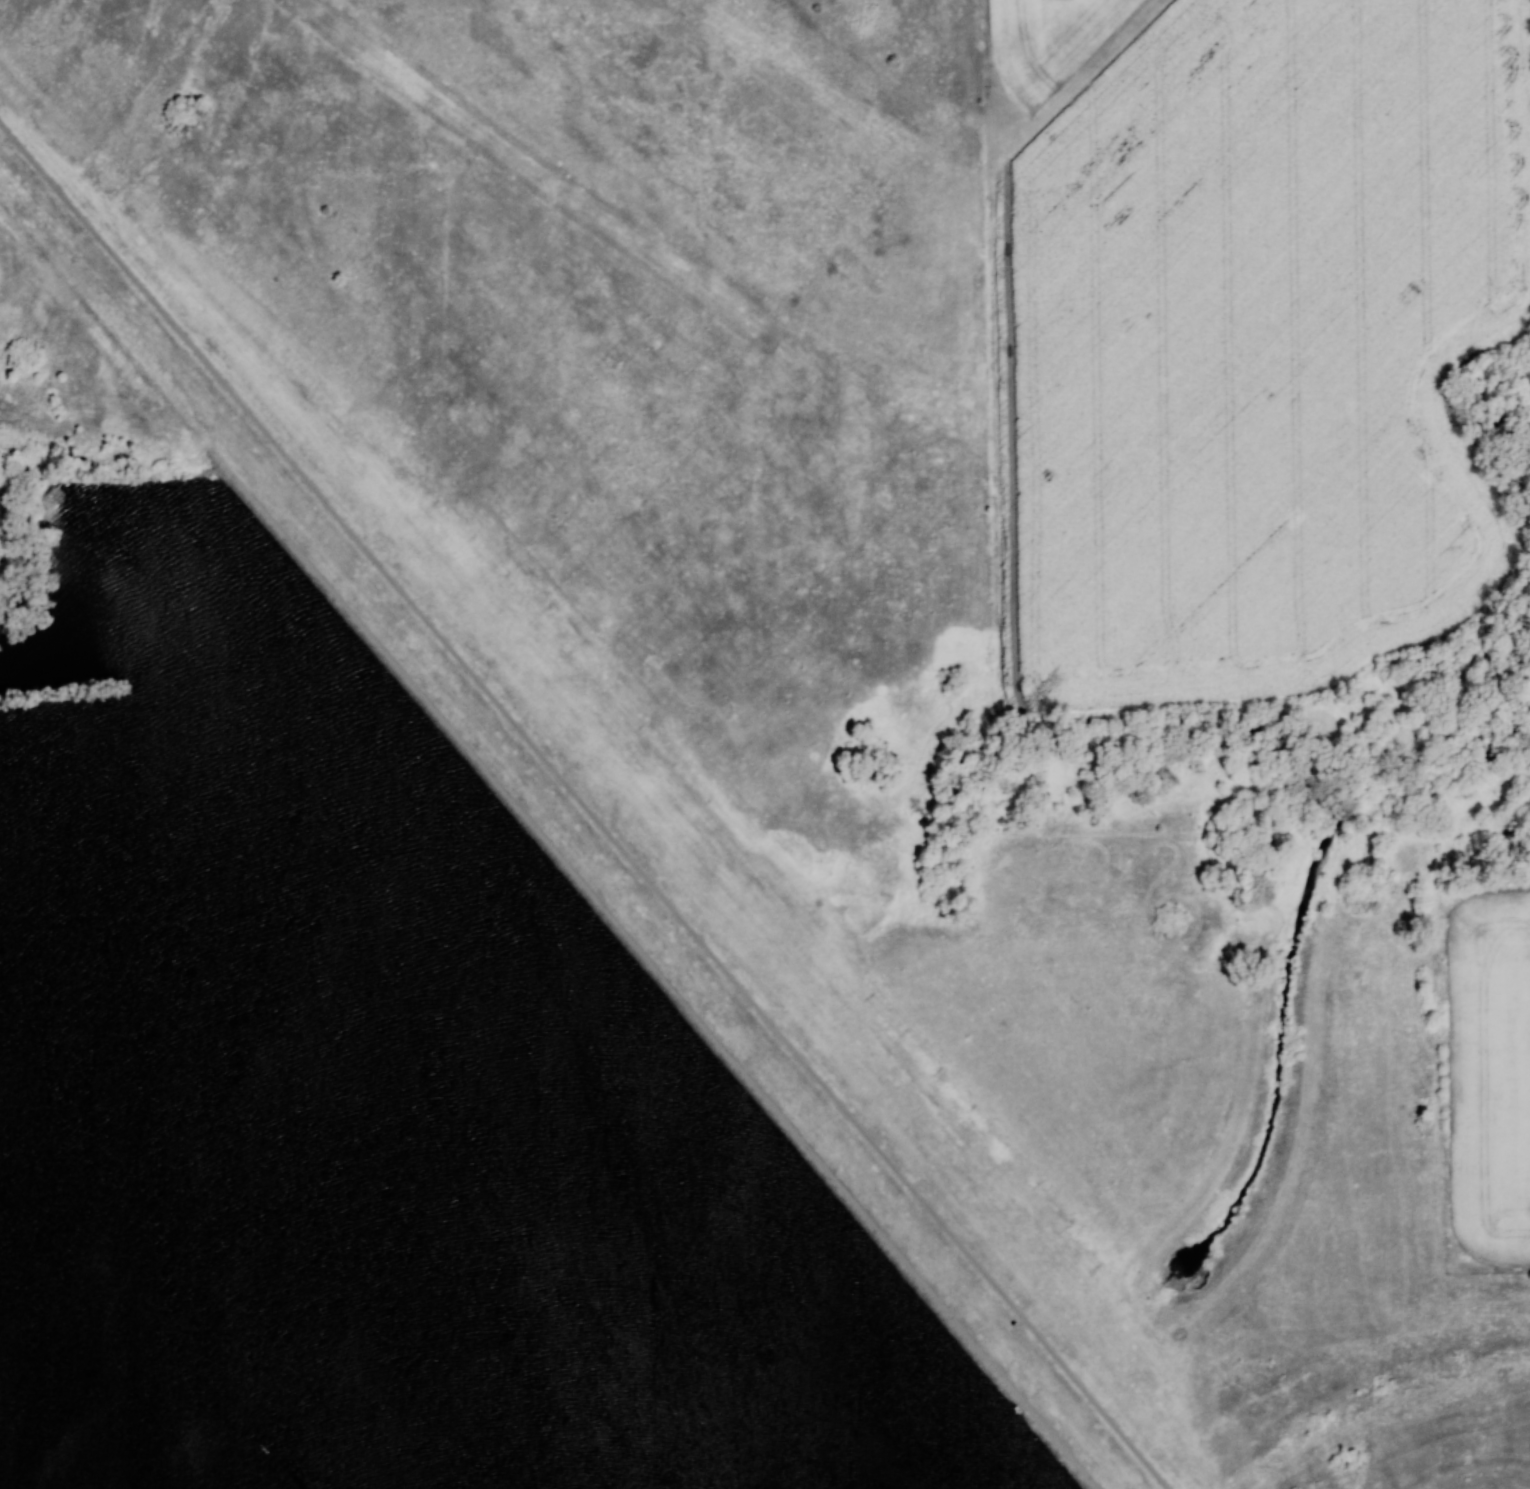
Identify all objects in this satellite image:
dam: (588, 801)
road: (585, 807)
road: (600, 917)
dam: (674, 987)

